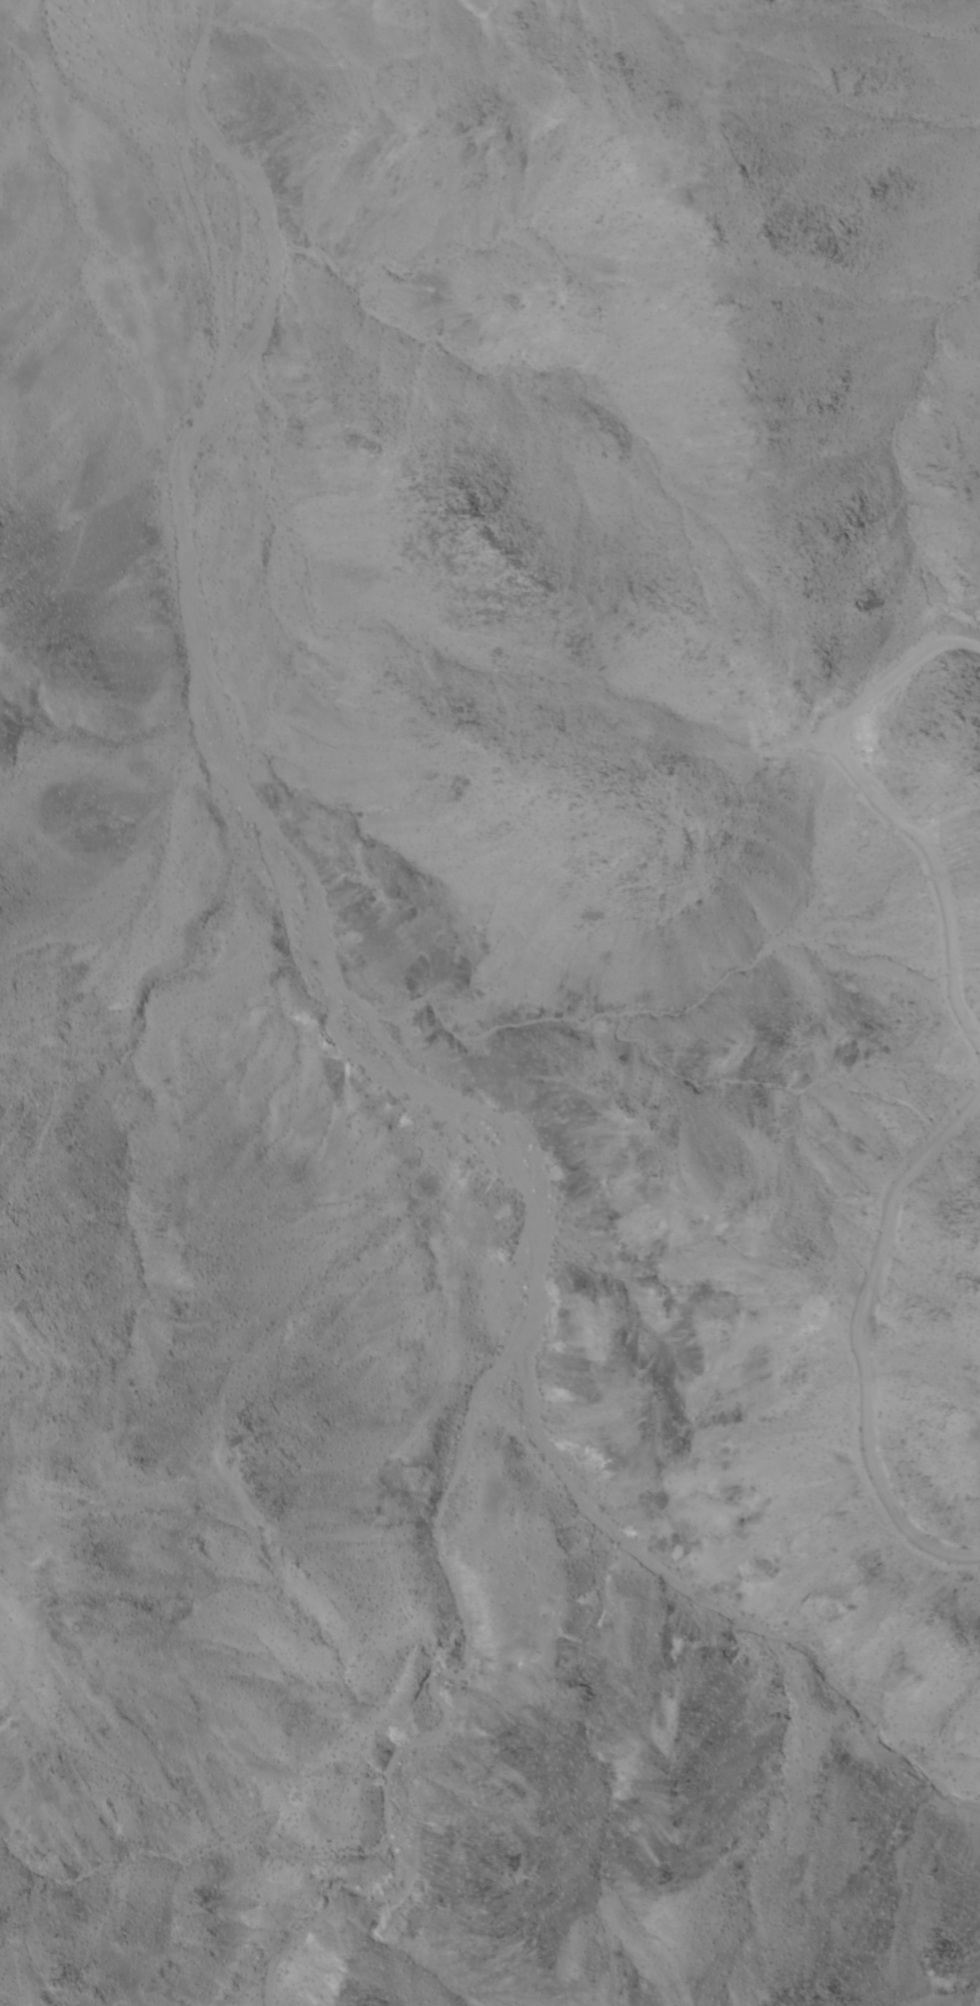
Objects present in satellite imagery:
road: (888, 804)
road: (867, 1339)

